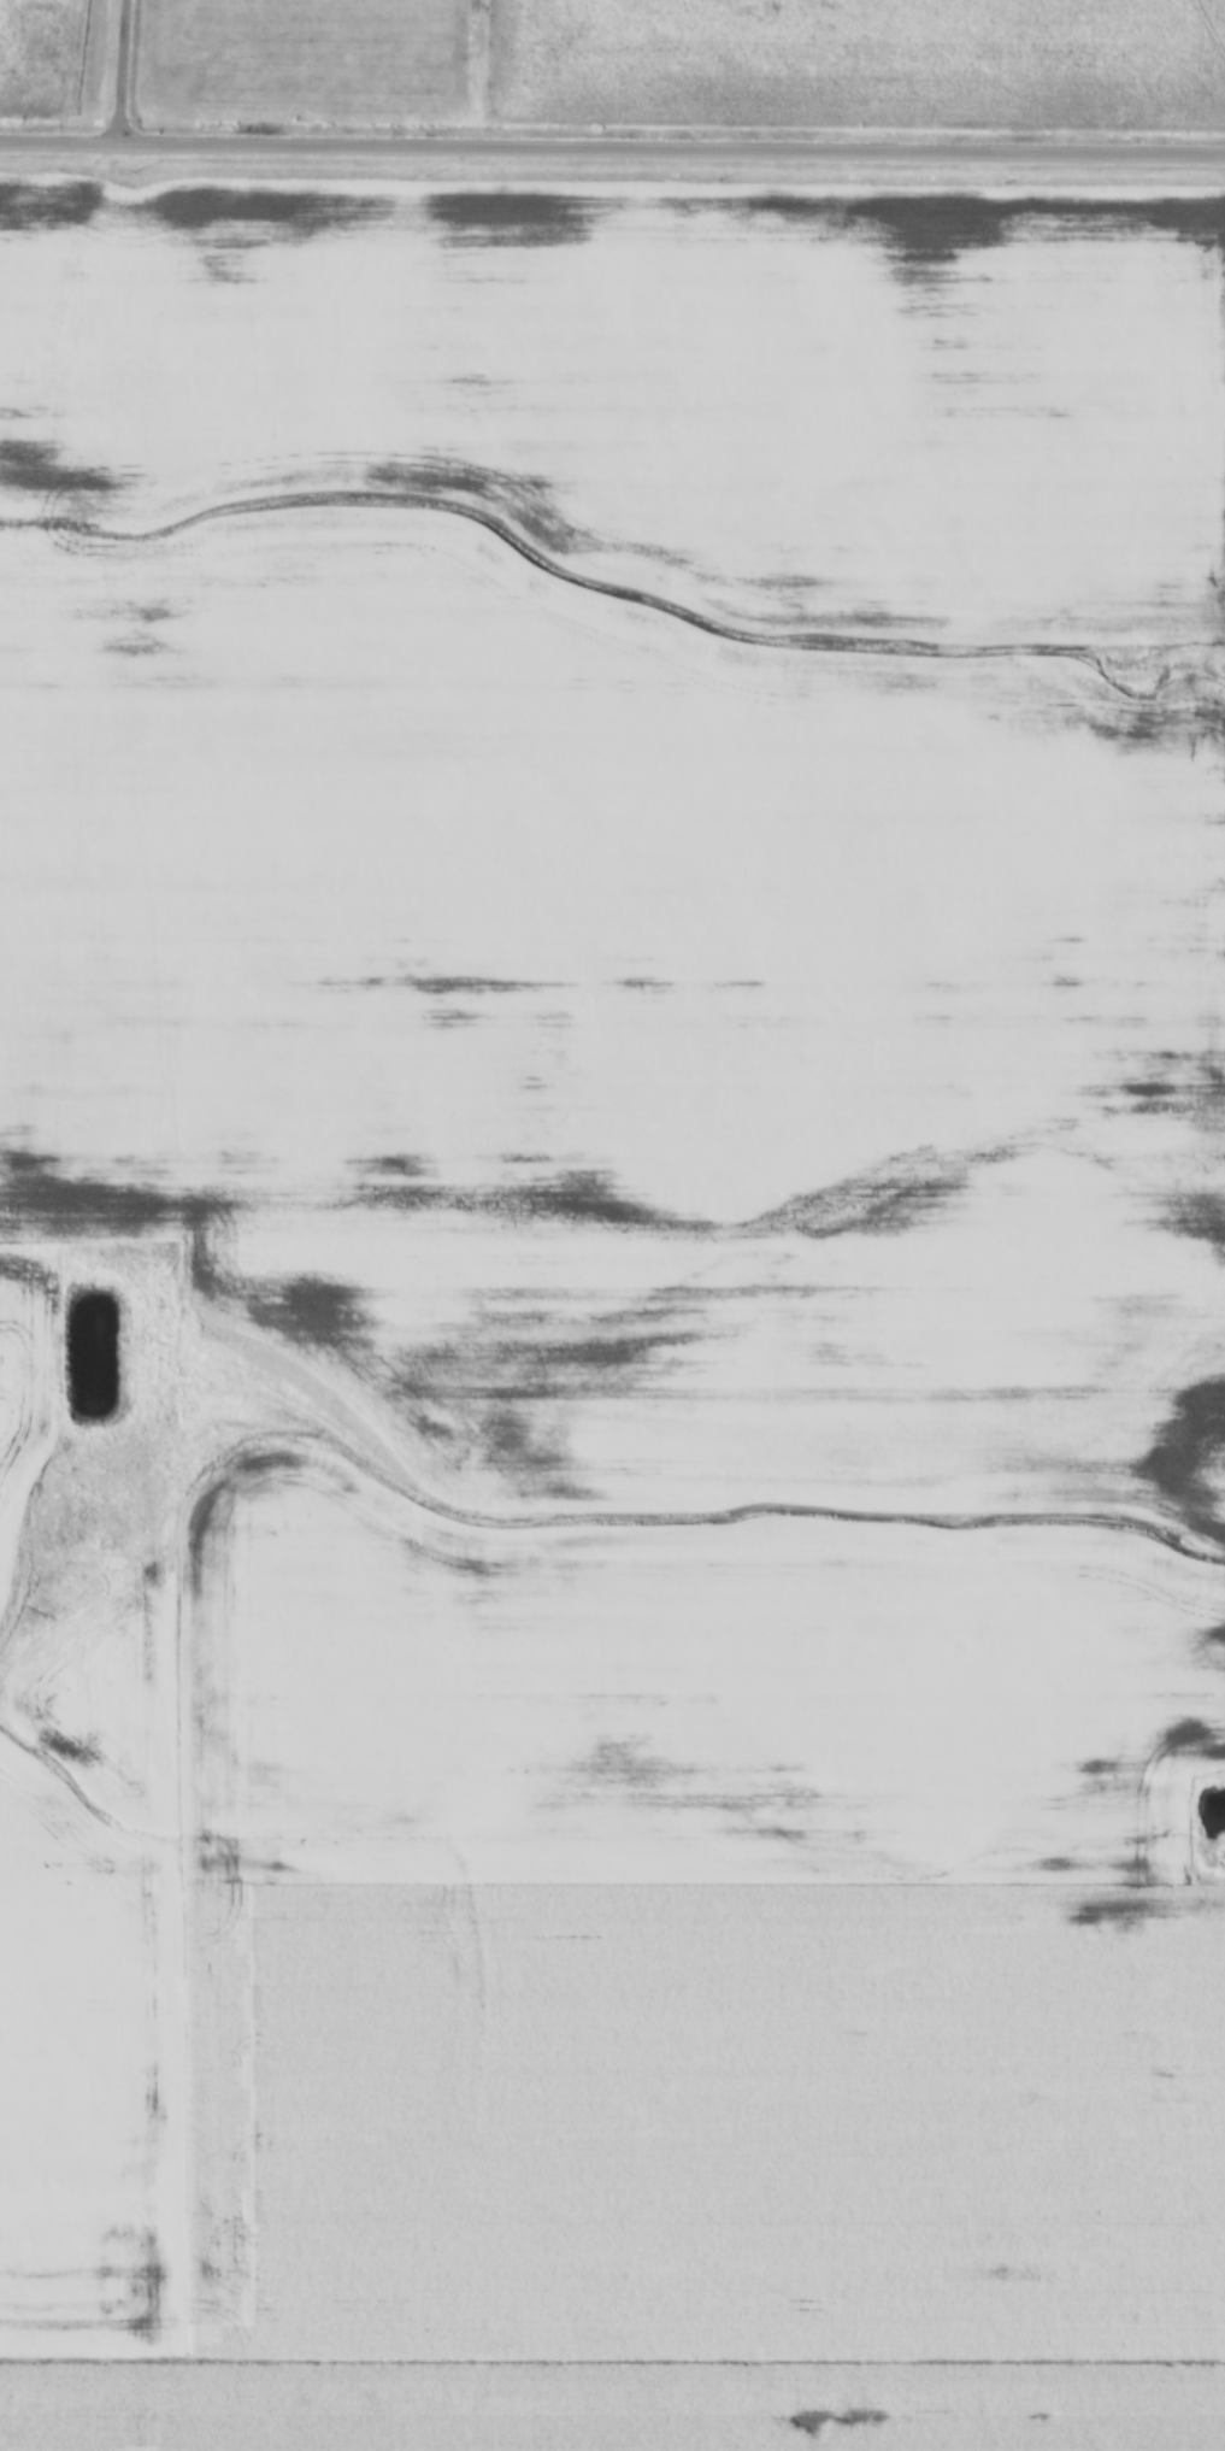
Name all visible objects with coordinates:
road: (124, 71)
road: (612, 148)

